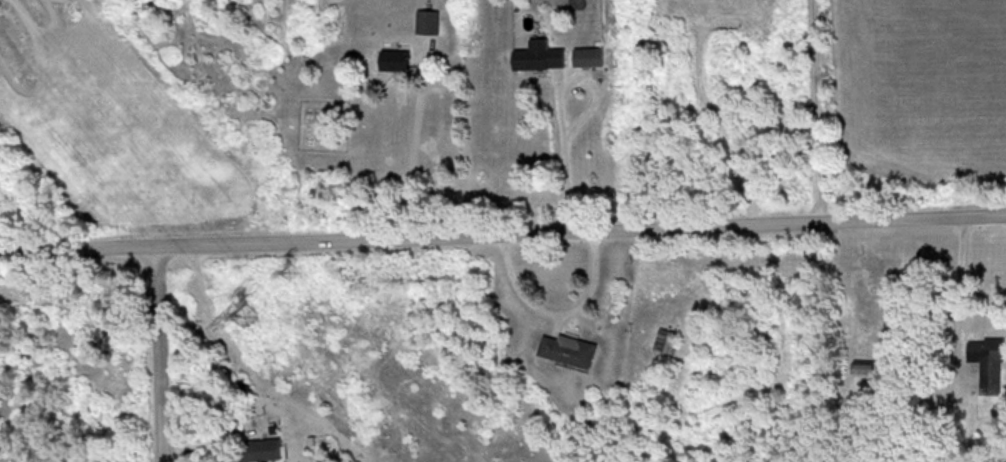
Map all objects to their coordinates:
building: (428, 19)
building: (540, 54)
building: (592, 55)
building: (396, 57)
road: (816, 106)
road: (413, 144)
road: (565, 149)
road: (503, 225)
power tower: (296, 269)
road: (959, 277)
road: (558, 309)
power tower: (249, 314)
building: (667, 339)
building: (572, 348)
road: (166, 350)
building: (988, 358)
building: (863, 366)
building: (267, 448)

